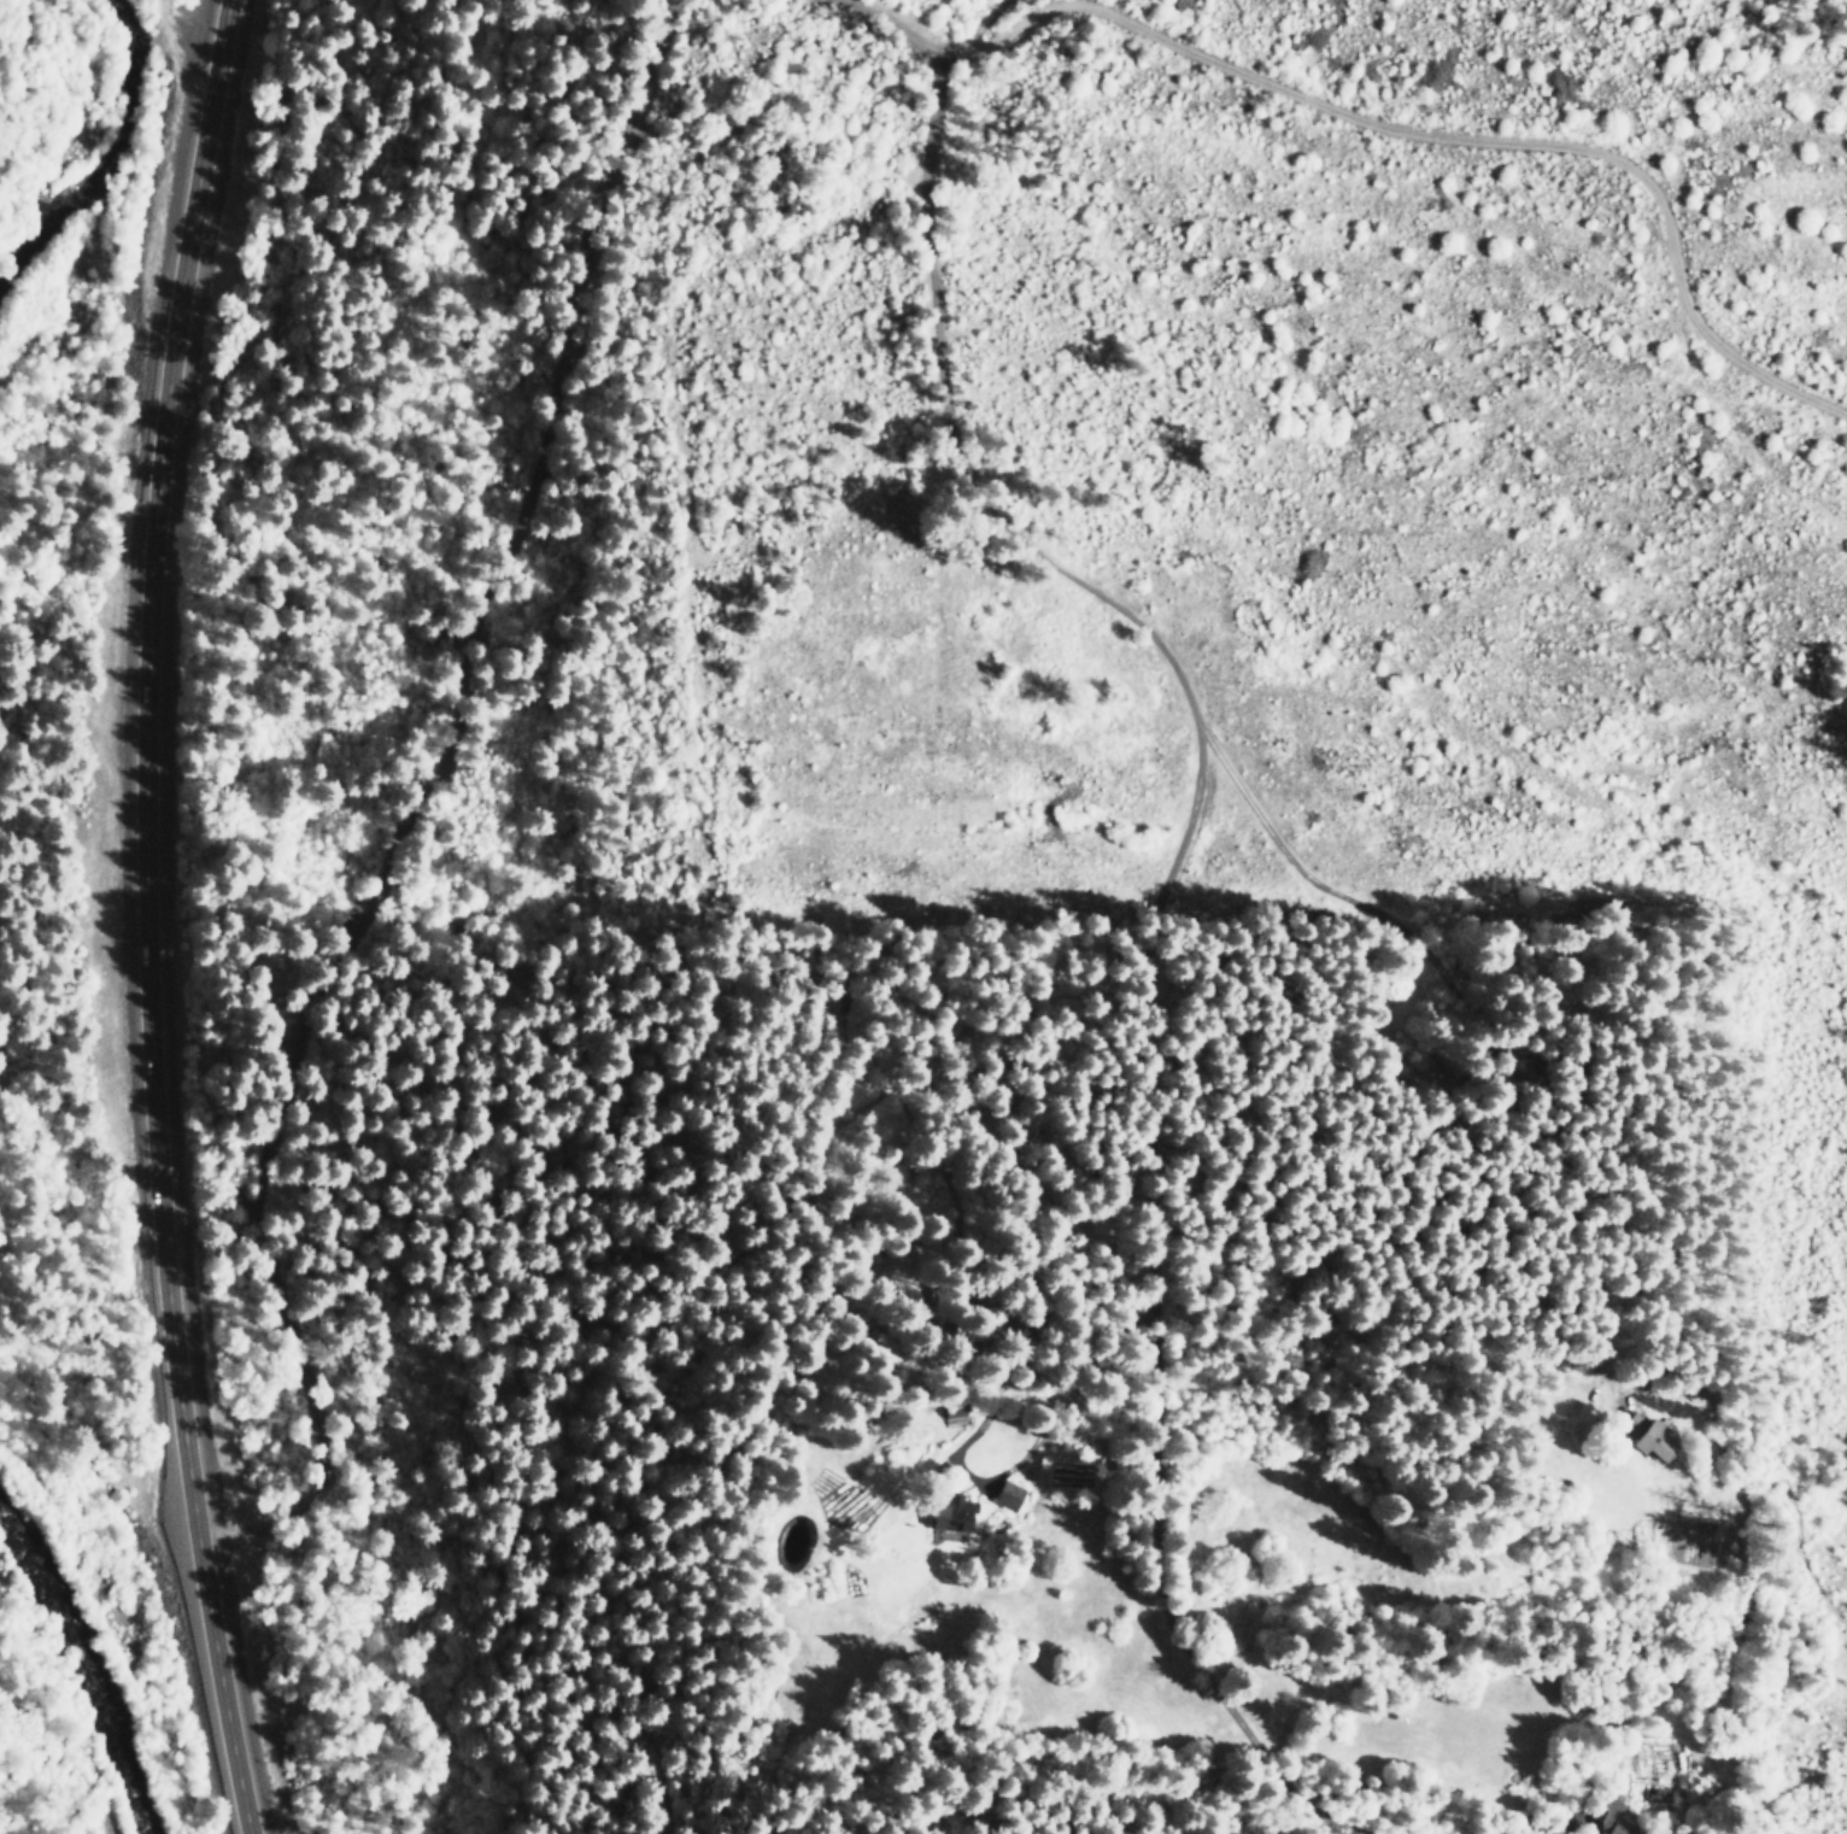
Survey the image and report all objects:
river: (81, 152)
road: (142, 918)
building: (1659, 1441)
building: (1013, 1495)
building: (957, 1517)
river: (80, 1641)

